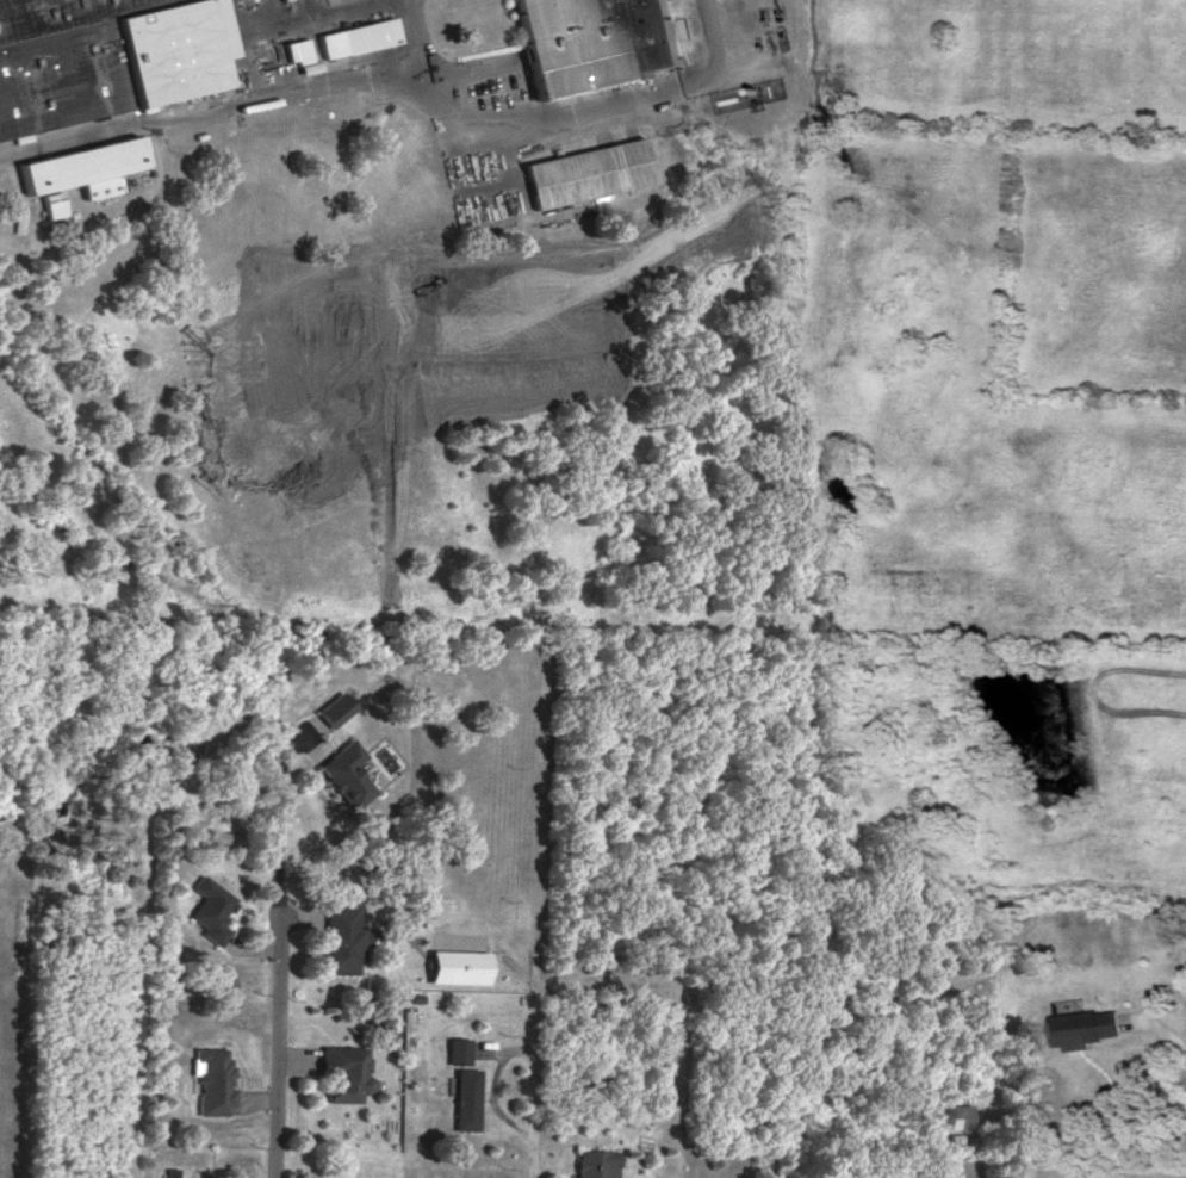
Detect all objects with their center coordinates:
building: (349, 36)
building: (583, 38)
building: (288, 49)
building: (100, 55)
road: (211, 107)
road: (553, 113)
building: (72, 168)
building: (580, 172)
building: (337, 707)
building: (348, 774)
building: (213, 909)
road: (280, 938)
building: (344, 940)
building: (460, 966)
building: (1083, 1027)
building: (393, 1031)
road: (1169, 1036)
building: (460, 1049)
building: (347, 1071)
building: (216, 1080)
road: (532, 1089)
building: (468, 1098)
building: (962, 1115)
building: (596, 1162)

